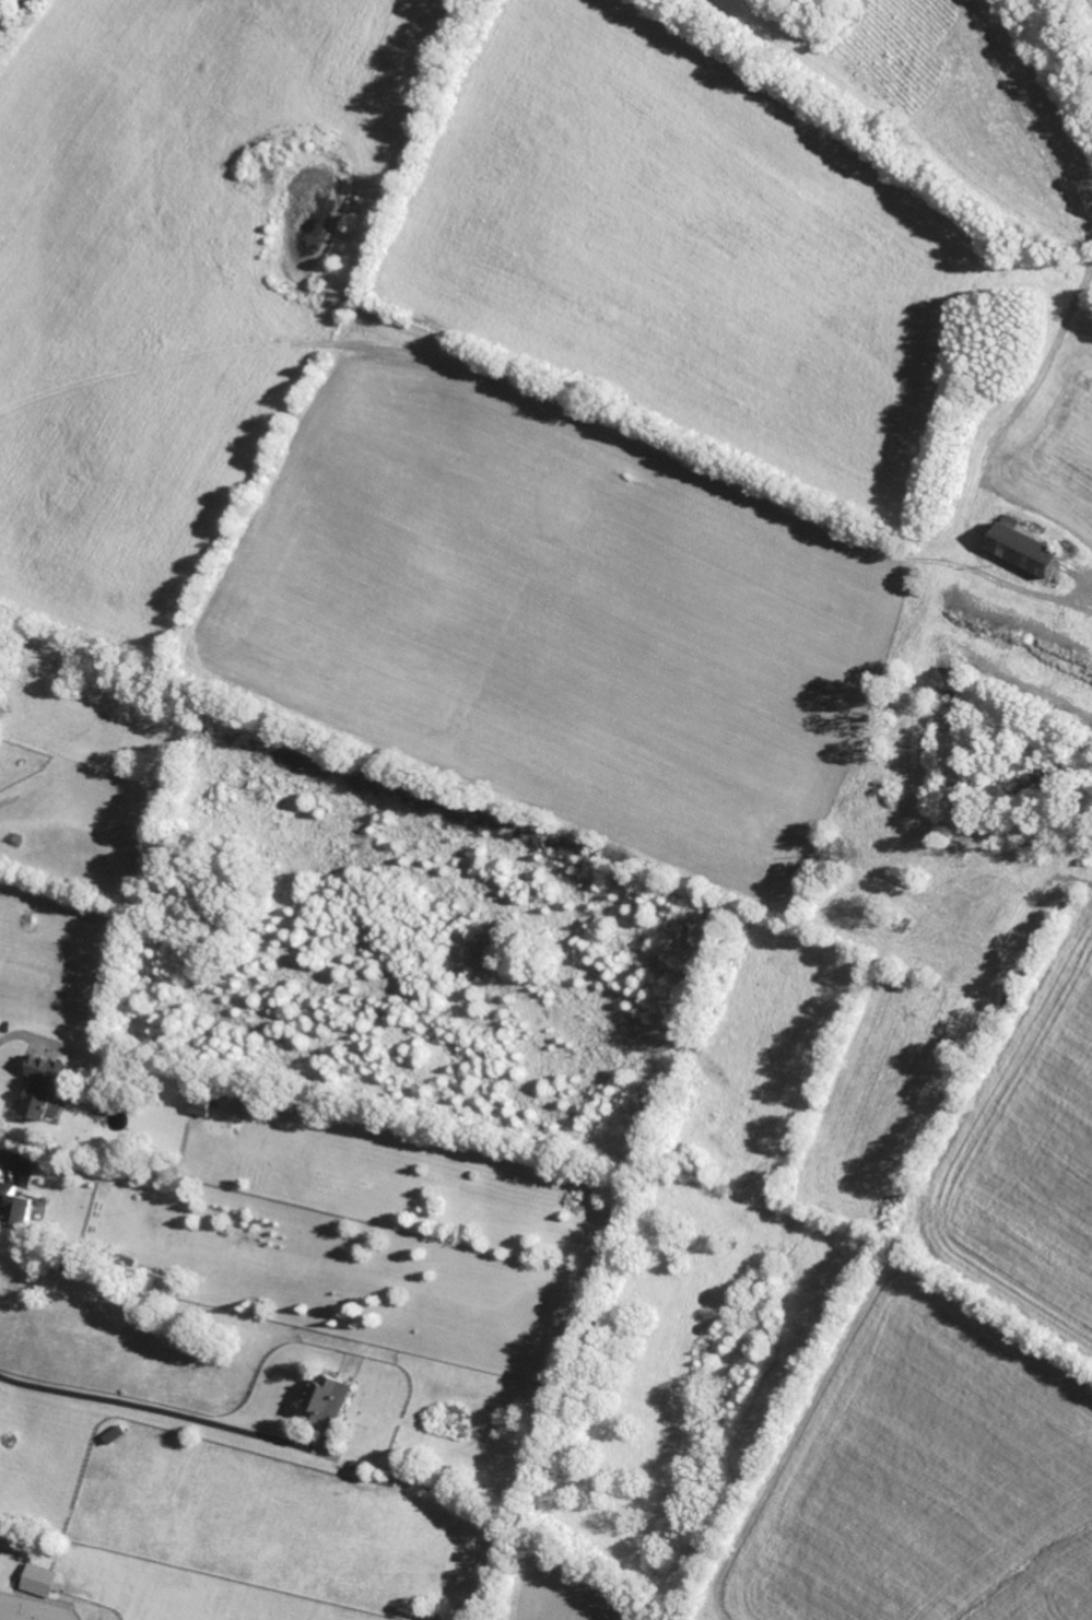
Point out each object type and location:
road: (14, 20)
road: (3, 27)
road: (556, 403)
building: (1025, 548)
road: (7, 1061)
building: (44, 1087)
building: (198, 1105)
road: (0, 1162)
building: (14, 1205)
building: (327, 1400)
road: (158, 1410)
building: (38, 1580)

